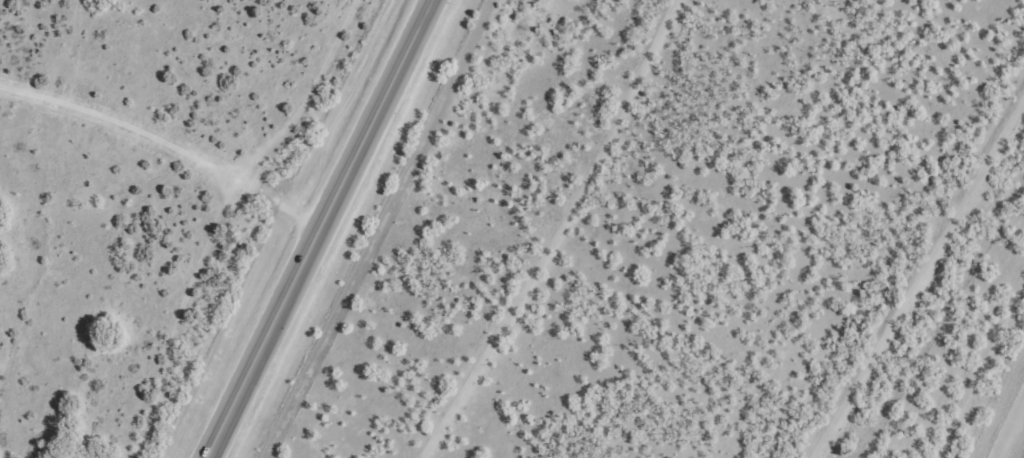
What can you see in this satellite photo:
road: (163, 166)
road: (324, 230)
railway: (935, 307)
road: (1011, 433)

